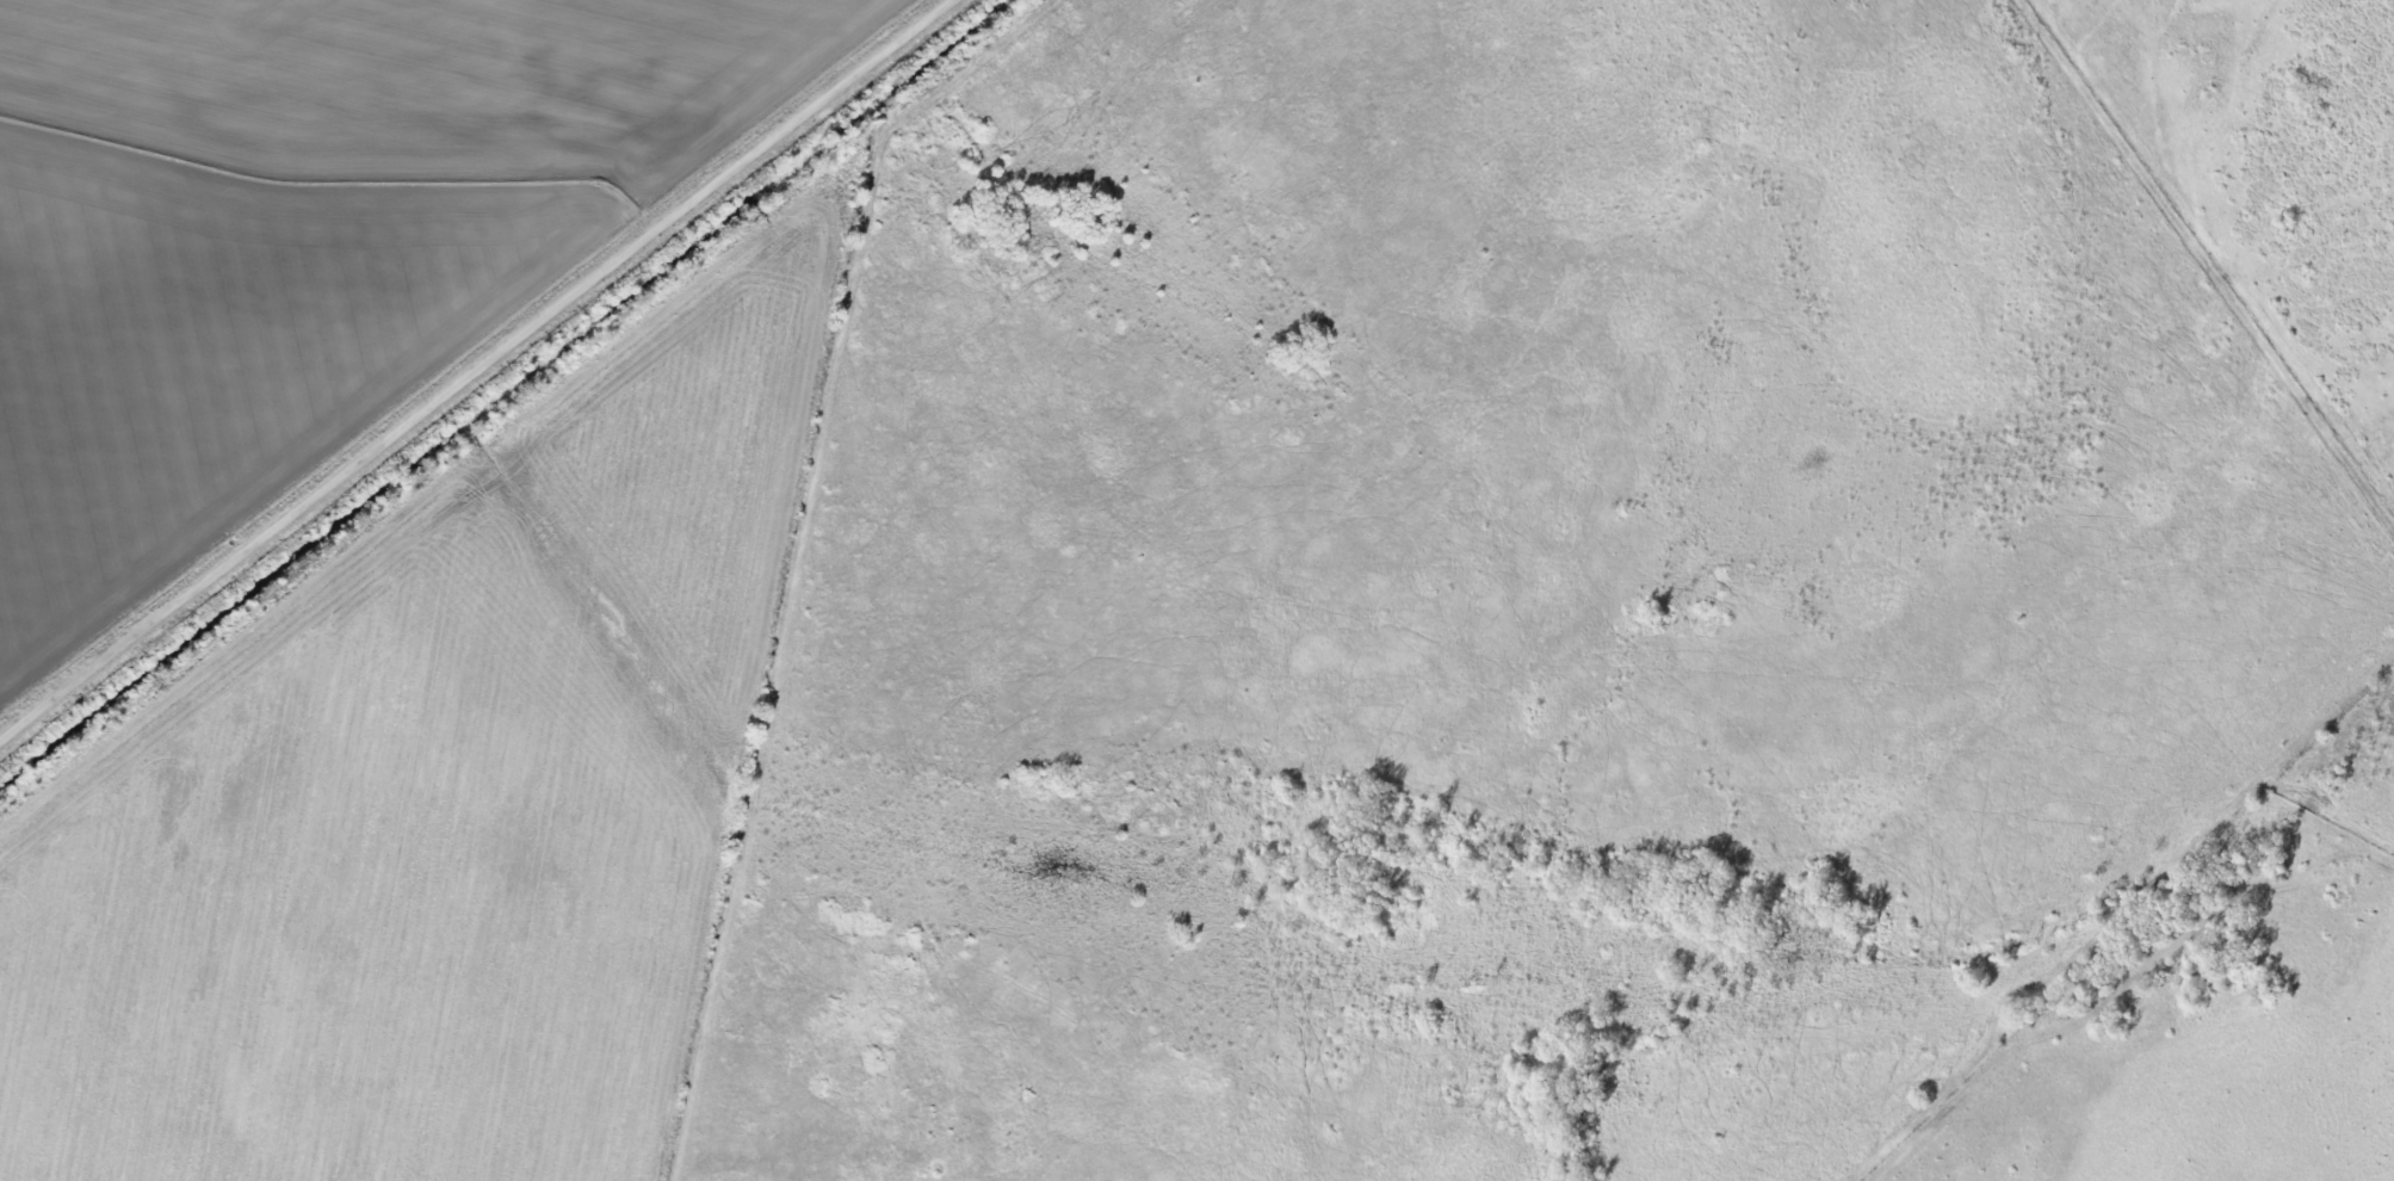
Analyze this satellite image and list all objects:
road: (456, 367)

